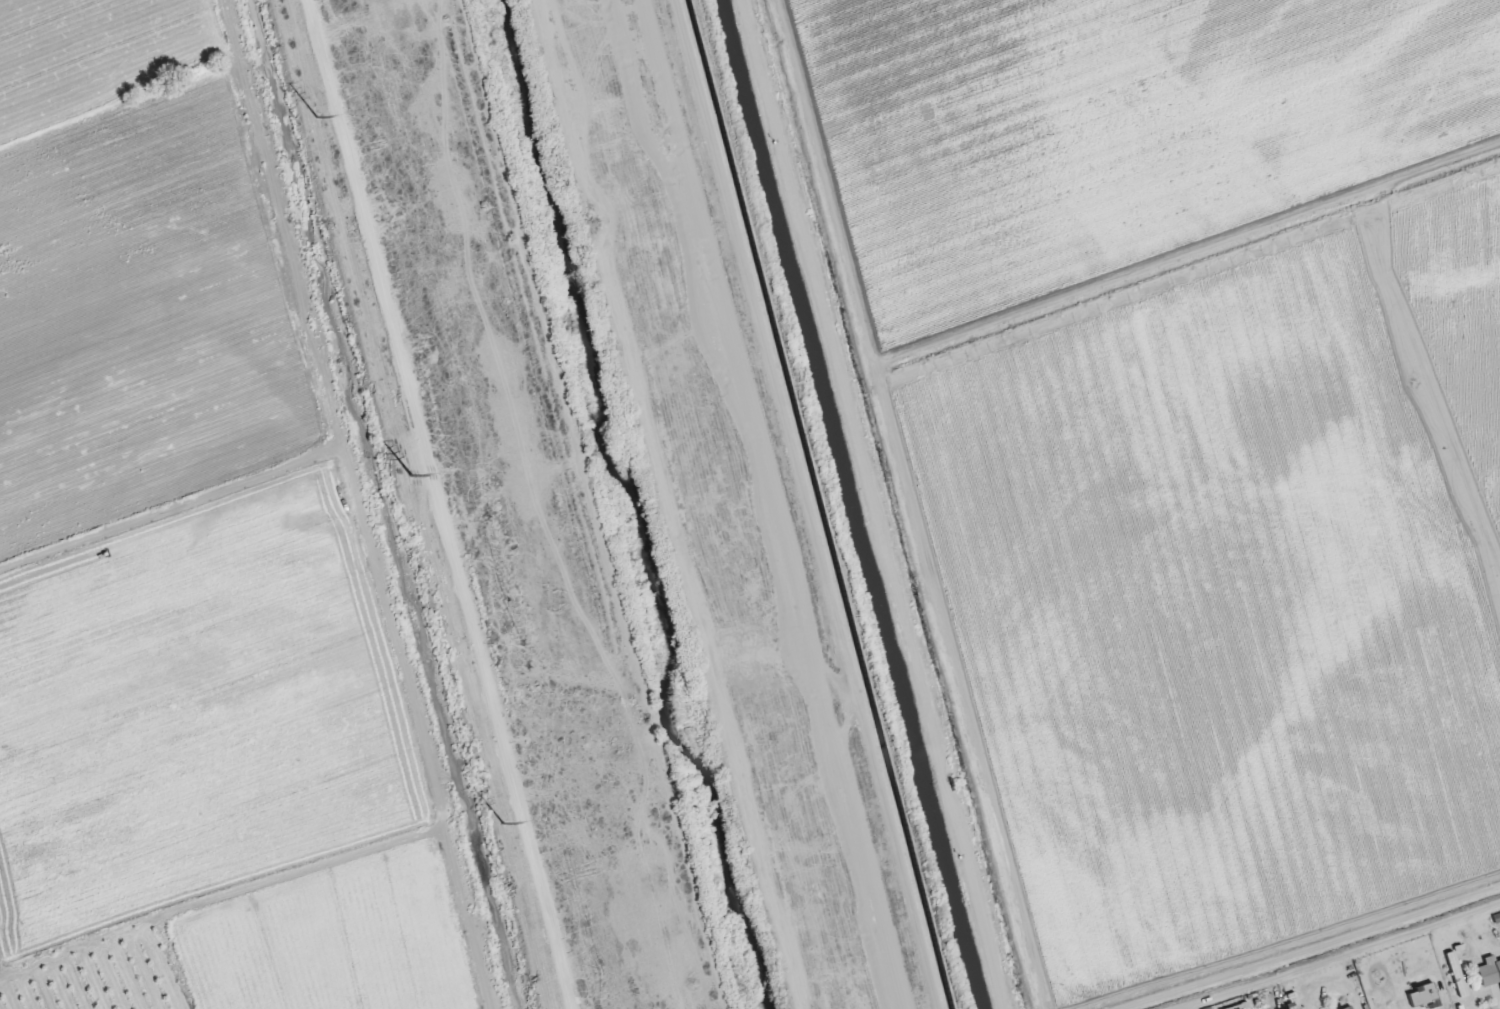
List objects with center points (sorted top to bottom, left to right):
power tower: (310, 119)
power tower: (407, 480)
road: (795, 504)
river: (626, 505)
power tower: (494, 824)
building: (1490, 972)
building: (1457, 973)
building: (1428, 992)
building: (1379, 995)
building: (1347, 1007)

